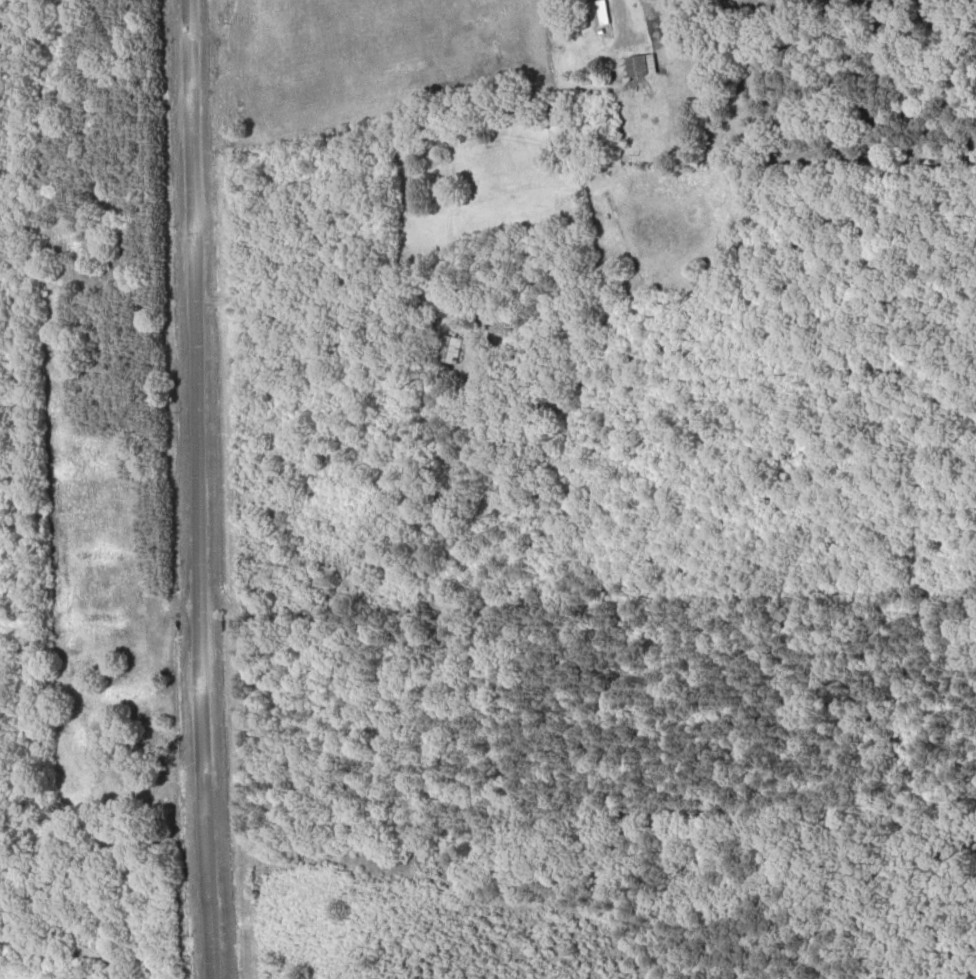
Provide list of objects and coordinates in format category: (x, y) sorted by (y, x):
building: (595, 11)
building: (634, 64)
building: (446, 348)
road: (193, 489)

